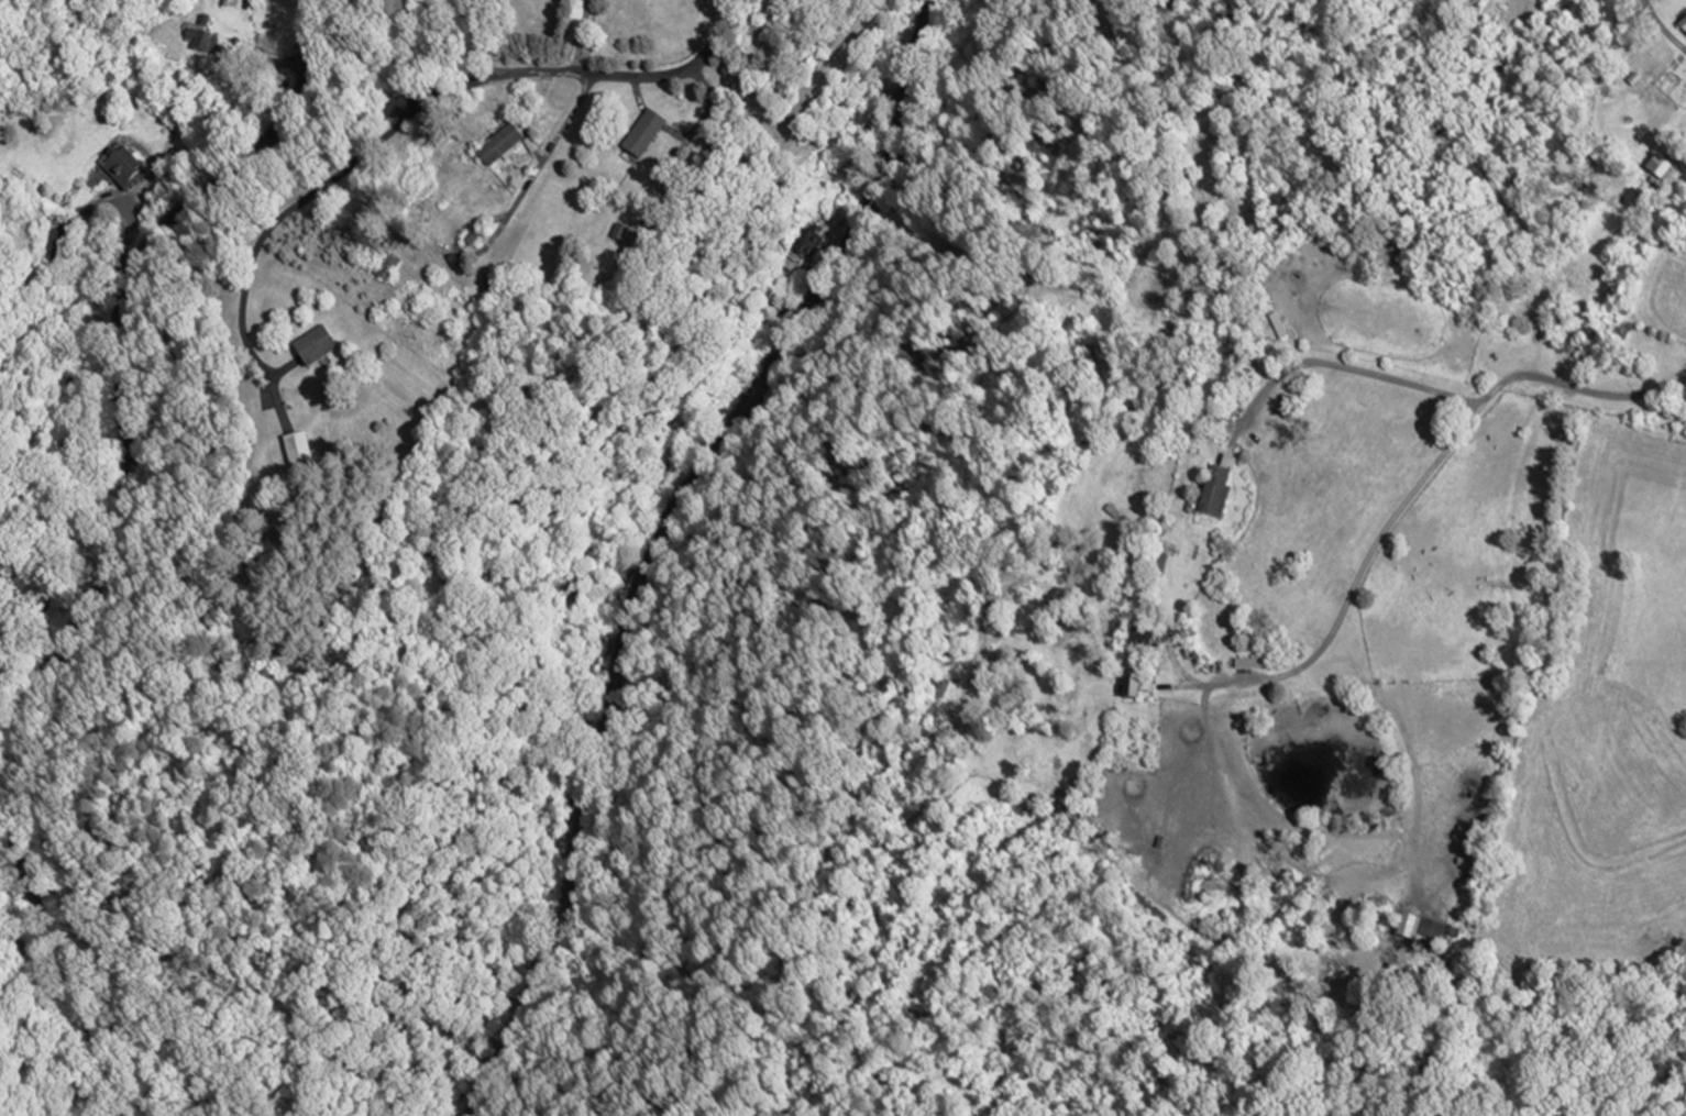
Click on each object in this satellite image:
road: (1661, 25)
building: (1683, 25)
building: (200, 35)
road: (492, 74)
road: (569, 112)
building: (641, 132)
building: (498, 144)
building: (1660, 164)
building: (123, 166)
road: (280, 216)
building: (619, 231)
building: (465, 235)
building: (54, 239)
road: (129, 242)
building: (801, 242)
road: (455, 246)
building: (385, 267)
building: (1274, 324)
building: (313, 347)
road: (1337, 365)
building: (297, 453)
building: (1213, 494)
road: (1403, 500)
road: (655, 539)
road: (120, 543)
building: (1151, 567)
building: (1138, 638)
building: (1250, 663)
building: (1129, 689)
building: (1415, 928)
road: (951, 953)
road: (1170, 1046)
road: (516, 1081)
road: (925, 1106)

